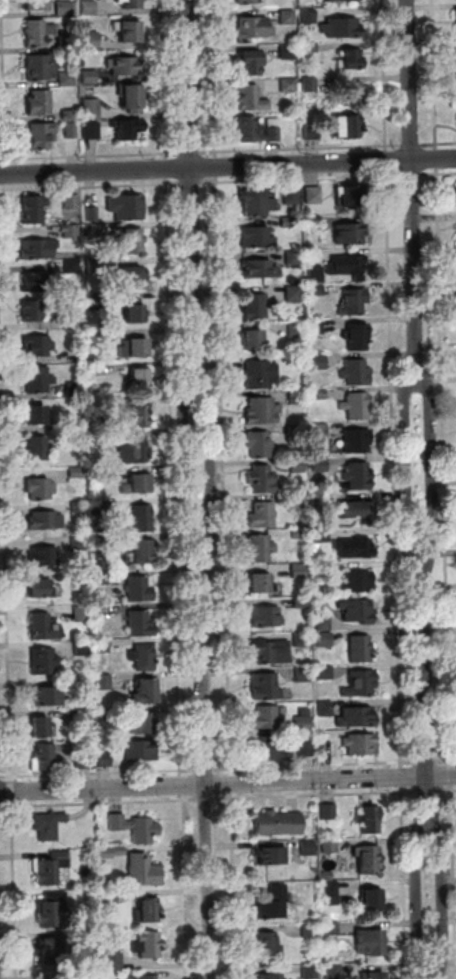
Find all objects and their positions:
building: (338, 0)
building: (246, 1)
building: (130, 3)
building: (36, 4)
building: (65, 8)
building: (89, 8)
building: (309, 16)
building: (288, 17)
building: (455, 17)
building: (254, 28)
building: (343, 28)
building: (128, 31)
building: (39, 32)
building: (90, 41)
building: (67, 43)
building: (309, 48)
building: (455, 49)
building: (288, 52)
building: (352, 59)
building: (251, 63)
building: (123, 66)
building: (40, 67)
road: (435, 75)
road: (385, 76)
building: (89, 77)
road: (214, 78)
building: (66, 79)
road: (164, 79)
road: (4, 82)
road: (189, 83)
building: (288, 85)
building: (310, 85)
building: (354, 93)
building: (132, 98)
building: (251, 99)
building: (39, 102)
building: (91, 109)
building: (69, 116)
building: (348, 127)
building: (127, 129)
building: (71, 130)
building: (91, 130)
building: (258, 130)
building: (312, 133)
building: (42, 135)
road: (438, 143)
road: (411, 145)
road: (301, 150)
road: (192, 153)
road: (94, 156)
road: (437, 159)
road: (387, 160)
road: (216, 167)
road: (228, 167)
road: (166, 169)
road: (3, 172)
road: (439, 173)
road: (412, 174)
road: (302, 179)
road: (191, 183)
road: (90, 186)
road: (413, 192)
building: (313, 195)
building: (349, 195)
building: (292, 196)
building: (71, 202)
building: (257, 202)
building: (128, 207)
building: (33, 209)
building: (92, 214)
building: (288, 222)
building: (314, 223)
building: (95, 231)
building: (70, 232)
building: (349, 234)
building: (257, 238)
building: (133, 241)
building: (36, 249)
building: (293, 258)
building: (94, 265)
building: (348, 266)
building: (72, 267)
building: (260, 269)
building: (316, 275)
building: (132, 276)
road: (194, 281)
building: (36, 283)
building: (316, 290)
building: (294, 294)
building: (94, 301)
building: (353, 302)
building: (253, 306)
building: (32, 311)
building: (135, 311)
building: (73, 321)
building: (316, 327)
building: (296, 329)
building: (97, 336)
building: (357, 337)
building: (253, 339)
building: (38, 345)
building: (135, 348)
building: (318, 362)
building: (97, 369)
building: (356, 372)
building: (260, 374)
building: (139, 378)
building: (37, 379)
building: (73, 389)
building: (319, 394)
building: (296, 397)
building: (356, 406)
building: (263, 410)
building: (134, 412)
building: (35, 415)
building: (61, 428)
building: (296, 431)
building: (319, 431)
building: (98, 440)
building: (357, 440)
building: (260, 445)
building: (39, 448)
building: (133, 450)
building: (321, 465)
building: (297, 466)
road: (444, 467)
road: (394, 468)
road: (408, 469)
road: (431, 469)
building: (76, 473)
building: (107, 474)
road: (224, 475)
road: (185, 476)
road: (211, 476)
building: (358, 476)
road: (173, 477)
building: (262, 480)
building: (137, 484)
building: (39, 489)
building: (299, 501)
building: (78, 507)
building: (100, 508)
building: (358, 510)
building: (263, 515)
building: (141, 519)
building: (45, 521)
building: (95, 524)
road: (5, 533)
building: (300, 533)
building: (325, 535)
building: (101, 543)
building: (79, 544)
building: (260, 548)
building: (354, 548)
building: (139, 552)
building: (43, 556)
building: (324, 568)
building: (299, 571)
building: (101, 576)
building: (80, 577)
building: (358, 582)
building: (261, 583)
building: (40, 589)
building: (140, 589)
building: (301, 603)
building: (358, 611)
building: (81, 614)
building: (266, 617)
building: (140, 624)
building: (324, 624)
building: (44, 627)
building: (303, 639)
building: (325, 640)
building: (102, 647)
building: (82, 649)
building: (361, 649)
building: (270, 653)
building: (143, 657)
building: (43, 661)
building: (325, 672)
building: (303, 675)
building: (104, 682)
building: (361, 684)
building: (84, 685)
building: (266, 687)
building: (145, 692)
road: (425, 695)
building: (47, 696)
building: (326, 709)
building: (105, 714)
building: (84, 715)
building: (266, 718)
building: (356, 718)
building: (145, 723)
building: (302, 724)
building: (41, 727)
building: (362, 744)
building: (269, 749)
building: (139, 750)
building: (306, 750)
building: (46, 756)
building: (82, 760)
building: (103, 760)
road: (426, 761)
road: (446, 761)
road: (316, 765)
road: (205, 770)
road: (206, 770)
road: (104, 773)
road: (452, 776)
road: (402, 778)
road: (232, 784)
road: (181, 785)
road: (228, 785)
road: (12, 791)
road: (427, 791)
road: (447, 791)
road: (316, 795)
road: (206, 799)
road: (98, 802)
building: (329, 812)
building: (371, 821)
building: (279, 824)
building: (48, 825)
building: (135, 828)
building: (330, 846)
building: (308, 848)
road: (454, 849)
building: (111, 852)
building: (273, 856)
building: (60, 860)
building: (368, 860)
building: (143, 871)
building: (327, 876)
road: (404, 883)
road: (183, 886)
road: (234, 886)
road: (13, 889)
building: (331, 893)
building: (109, 897)
building: (373, 901)
road: (441, 902)
road: (419, 903)
building: (273, 904)
building: (53, 908)
building: (147, 911)
building: (331, 929)
building: (310, 931)
building: (89, 939)
building: (370, 943)
building: (267, 944)
building: (148, 945)
building: (51, 949)
building: (111, 964)
building: (311, 972)
building: (333, 972)
road: (432, 973)
building: (91, 976)
building: (271, 976)
building: (373, 976)
building: (149, 977)

